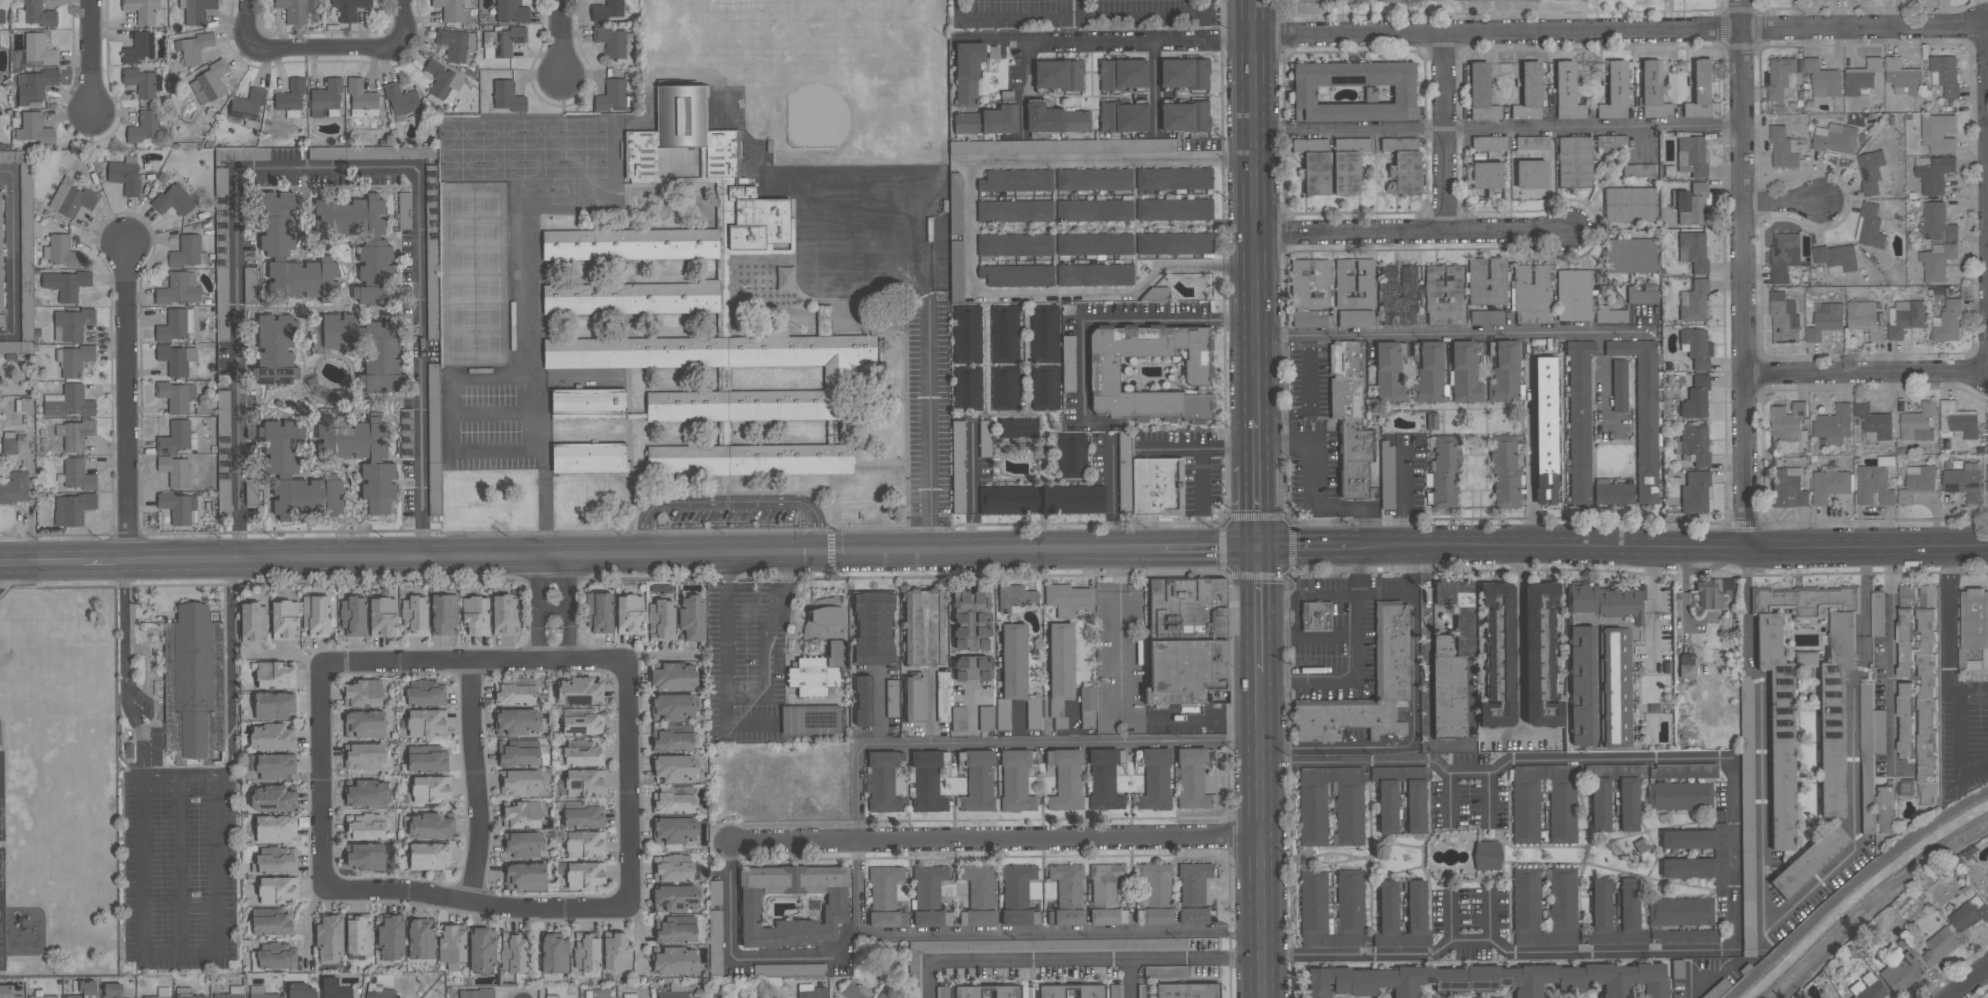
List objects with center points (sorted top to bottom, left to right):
building: (1389, 0)
building: (1441, 0)
building: (1475, 0)
building: (1526, 0)
building: (1561, 0)
building: (1304, 1)
building: (1355, 1)
road: (1208, 8)
building: (349, 9)
building: (142, 10)
building: (196, 10)
building: (295, 10)
building: (450, 10)
building: (607, 10)
road: (1082, 10)
building: (511, 12)
building: (35, 14)
building: (2, 16)
road: (1095, 19)
road: (1618, 31)
road: (561, 38)
building: (509, 40)
building: (612, 41)
road: (1115, 41)
road: (324, 45)
building: (456, 45)
building: (0, 47)
building: (140, 48)
building: (193, 48)
building: (993, 52)
road: (90, 56)
building: (967, 73)
building: (1184, 73)
building: (1059, 74)
building: (1123, 74)
building: (1945, 75)
building: (1779, 77)
building: (1862, 77)
building: (1903, 78)
building: (1824, 80)
building: (443, 81)
park: (857, 81)
building: (140, 82)
building: (209, 83)
road: (1021, 83)
building: (35, 86)
road: (1155, 86)
building: (1567, 90)
building: (1354, 91)
building: (1615, 91)
building: (1653, 91)
building: (1529, 92)
building: (1702, 92)
building: (1481, 93)
building: (507, 96)
building: (611, 96)
building: (291, 99)
building: (326, 99)
building: (362, 99)
building: (401, 100)
building: (247, 105)
building: (0, 112)
road: (1986, 113)
building: (1123, 117)
building: (1185, 117)
building: (1055, 119)
building: (987, 121)
building: (145, 126)
road: (1497, 128)
building: (34, 129)
road: (1445, 132)
building: (1939, 134)
building: (1835, 139)
building: (1488, 143)
building: (1531, 143)
building: (1611, 143)
building: (1062, 146)
park: (523, 148)
building: (1784, 149)
building: (242, 153)
building: (349, 153)
building: (1691, 155)
building: (1575, 161)
building: (1405, 163)
building: (1314, 164)
building: (1348, 164)
road: (325, 167)
building: (1638, 171)
building: (1872, 171)
building: (125, 174)
building: (1487, 174)
building: (1531, 174)
building: (1933, 174)
building: (1174, 178)
building: (1094, 179)
building: (221, 180)
building: (1016, 180)
building: (70, 198)
building: (173, 200)
road: (1781, 200)
building: (955, 203)
building: (1630, 204)
building: (1693, 204)
road: (1256, 207)
building: (404, 209)
building: (1174, 209)
building: (1015, 211)
building: (1937, 222)
building: (1870, 227)
road: (1412, 233)
road: (969, 237)
building: (277, 243)
building: (1175, 243)
building: (1094, 244)
building: (1015, 245)
building: (630, 246)
building: (374, 250)
building: (1693, 250)
building: (60, 251)
building: (23, 252)
building: (187, 252)
road: (13, 254)
building: (1629, 255)
building: (1784, 255)
building: (1, 256)
building: (1837, 259)
building: (1938, 261)
building: (956, 271)
road: (1742, 271)
building: (1017, 275)
building: (1095, 275)
park: (477, 276)
building: (785, 279)
building: (1365, 281)
building: (1487, 281)
building: (1310, 283)
building: (66, 284)
building: (250, 285)
building: (179, 289)
building: (1157, 293)
building: (1532, 293)
building: (1399, 294)
building: (1443, 294)
building: (1574, 295)
building: (1643, 297)
building: (631, 300)
building: (1694, 302)
building: (1610, 314)
building: (1486, 316)
building: (1905, 317)
building: (1356, 318)
building: (823, 319)
building: (1310, 319)
building: (1866, 319)
building: (2, 320)
building: (1784, 320)
road: (1117, 321)
building: (1824, 322)
building: (1948, 322)
building: (72, 324)
building: (175, 325)
building: (1044, 333)
building: (967, 334)
building: (1004, 334)
road: (1452, 334)
building: (318, 335)
building: (368, 347)
building: (1696, 347)
building: (277, 349)
building: (177, 359)
building: (75, 360)
building: (1068, 363)
building: (1104, 370)
building: (1389, 372)
building: (1429, 373)
building: (1465, 373)
building: (1505, 373)
road: (1866, 374)
building: (836, 380)
building: (1620, 385)
building: (1045, 386)
building: (967, 387)
building: (1005, 387)
road: (1602, 388)
building: (177, 396)
road: (1308, 397)
building: (1696, 398)
building: (69, 402)
road: (127, 403)
building: (586, 406)
road: (928, 410)
building: (433, 413)
building: (1643, 413)
building: (1987, 416)
building: (1349, 418)
building: (1580, 420)
building: (1958, 420)
building: (1788, 423)
building: (1874, 423)
building: (1918, 423)
building: (1834, 425)
building: (223, 428)
building: (1017, 429)
building: (1546, 430)
building: (74, 434)
building: (176, 437)
building: (985, 438)
road: (1259, 440)
building: (9, 442)
building: (1694, 442)
building: (280, 444)
road: (1197, 445)
road: (1314, 446)
building: (360, 452)
building: (1071, 456)
building: (587, 459)
road: (1530, 461)
building: (749, 462)
road: (972, 468)
road: (541, 469)
building: (1445, 469)
building: (175, 470)
building: (959, 470)
building: (1505, 471)
building: (78, 474)
road: (1112, 476)
building: (1387, 476)
building: (1987, 477)
road: (1201, 478)
building: (1963, 480)
building: (1917, 483)
building: (1152, 485)
building: (1788, 486)
building: (1874, 486)
building: (15, 487)
building: (224, 487)
building: (1613, 491)
building: (251, 493)
building: (1695, 493)
building: (307, 494)
road: (1404, 495)
road: (731, 505)
building: (176, 507)
building: (378, 507)
road: (1259, 507)
building: (72, 509)
road: (1112, 531)
road: (968, 533)
road: (928, 535)
road: (1670, 544)
road: (1306, 548)
traffic signals: (1260, 549)
road: (1209, 550)
road: (854, 554)
road: (394, 559)
road: (41, 562)
road: (105, 562)
road: (183, 562)
road: (550, 568)
road: (8, 571)
road: (942, 576)
road: (565, 590)
road: (539, 591)
building: (1712, 592)
building: (1907, 594)
road: (1325, 595)
road: (1384, 595)
building: (1068, 598)
road: (1653, 600)
building: (1604, 601)
road: (1949, 605)
road: (1261, 610)
road: (552, 611)
building: (600, 611)
building: (1879, 613)
building: (444, 614)
building: (630, 614)
building: (353, 615)
building: (476, 615)
building: (505, 615)
road: (800, 615)
building: (316, 616)
building: (414, 616)
building: (692, 616)
road: (1295, 616)
building: (1316, 616)
building: (382, 617)
building: (971, 618)
building: (284, 619)
building: (661, 620)
building: (254, 623)
building: (925, 626)
building: (874, 628)
building: (1974, 629)
road: (1326, 635)
road: (540, 636)
road: (566, 636)
building: (1186, 640)
road: (1520, 640)
building: (1905, 643)
building: (837, 647)
building: (1499, 656)
building: (1540, 656)
road: (1893, 656)
road: (1356, 657)
road: (594, 658)
road: (436, 659)
building: (1061, 660)
building: (1453, 664)
building: (1394, 666)
building: (1686, 666)
building: (972, 668)
building: (274, 675)
building: (674, 676)
building: (1013, 679)
building: (1582, 685)
building: (194, 686)
building: (1616, 687)
road: (1973, 690)
building: (579, 691)
building: (363, 693)
building: (424, 693)
road: (750, 694)
building: (516, 695)
building: (943, 696)
building: (1927, 696)
building: (892, 697)
building: (863, 700)
building: (274, 705)
building: (674, 706)
road: (1121, 706)
building: (1088, 707)
road: (1428, 708)
building: (1034, 712)
building: (986, 718)
building: (811, 719)
building: (960, 719)
building: (518, 721)
road: (1414, 721)
building: (1906, 721)
building: (426, 722)
building: (364, 724)
building: (582, 724)
building: (1854, 726)
road: (1959, 734)
building: (272, 737)
building: (1870, 737)
building: (672, 741)
building: (585, 754)
building: (518, 755)
building: (364, 756)
building: (1782, 757)
building: (427, 759)
building: (275, 766)
building: (676, 767)
building: (1683, 770)
road: (183, 775)
road: (320, 775)
building: (1066, 778)
building: (1156, 779)
building: (1192, 779)
building: (978, 780)
building: (1104, 780)
road: (475, 781)
building: (584, 781)
building: (883, 781)
building: (1016, 781)
building: (520, 783)
building: (430, 788)
road: (628, 788)
building: (1906, 788)
building: (368, 793)
building: (1680, 795)
building: (273, 799)
road: (1493, 799)
road: (1447, 800)
building: (674, 803)
building: (574, 804)
building: (1600, 804)
building: (1629, 804)
building: (1349, 807)
building: (1416, 807)
building: (1886, 809)
building: (1526, 811)
building: (523, 815)
building: (1747, 815)
building: (583, 817)
building: (430, 826)
building: (365, 827)
building: (276, 828)
building: (674, 830)
road: (1262, 834)
road: (856, 839)
road: (996, 841)
building: (524, 844)
building: (585, 844)
road: (1734, 852)
building: (1720, 853)
building: (429, 855)
building: (1487, 855)
building: (366, 857)
building: (277, 860)
building: (1809, 860)
building: (673, 868)
building: (585, 875)
building: (525, 876)
building: (1194, 881)
building: (1156, 882)
building: (928, 884)
building: (979, 884)
building: (1017, 884)
building: (1068, 884)
building: (1981, 885)
building: (278, 890)
building: (715, 892)
building: (1351, 893)
building: (1106, 895)
building: (885, 896)
building: (676, 898)
building: (1563, 899)
road: (474, 903)
building: (1602, 904)
building: (792, 905)
building: (1417, 906)
building: (1680, 911)
building: (1969, 914)
building: (1193, 915)
road: (1783, 915)
building: (1154, 916)
road: (1451, 916)
road: (1489, 916)
building: (1016, 917)
building: (1069, 917)
building: (1628, 917)
building: (932, 918)
building: (977, 918)
building: (272, 925)
building: (359, 933)
building: (676, 933)
building: (1684, 936)
building: (329, 938)
building: (391, 938)
building: (421, 939)
building: (715, 942)
building: (452, 945)
building: (1940, 946)
road: (178, 949)
building: (1030, 949)
building: (482, 951)
building: (514, 952)
building: (617, 952)
building: (587, 953)
building: (554, 954)
building: (274, 956)
road: (743, 958)
road: (1137, 958)
road: (1226, 958)
road: (1010, 960)
building: (675, 961)
building: (790, 969)
building: (1166, 971)
building: (1902, 972)
building: (1481, 979)
road: (1713, 980)
road: (1967, 980)
building: (1867, 988)
building: (83, 989)
building: (335, 989)
building: (112, 990)
building: (1187, 990)
building: (302, 991)
building: (675, 991)
building: (812, 991)
building: (855, 991)
building: (1051, 991)
building: (1091, 991)
building: (1116, 991)
building: (1143, 991)
building: (8, 992)
building: (261, 992)
building: (378, 992)
building: (942, 992)
building: (967, 992)
building: (1007, 992)
building: (161, 993)
building: (186, 993)
building: (231, 993)
building: (477, 993)
building: (715, 994)
building: (884, 994)
building: (628, 995)
building: (44, 996)
building: (551, 996)
building: (1840, 997)

